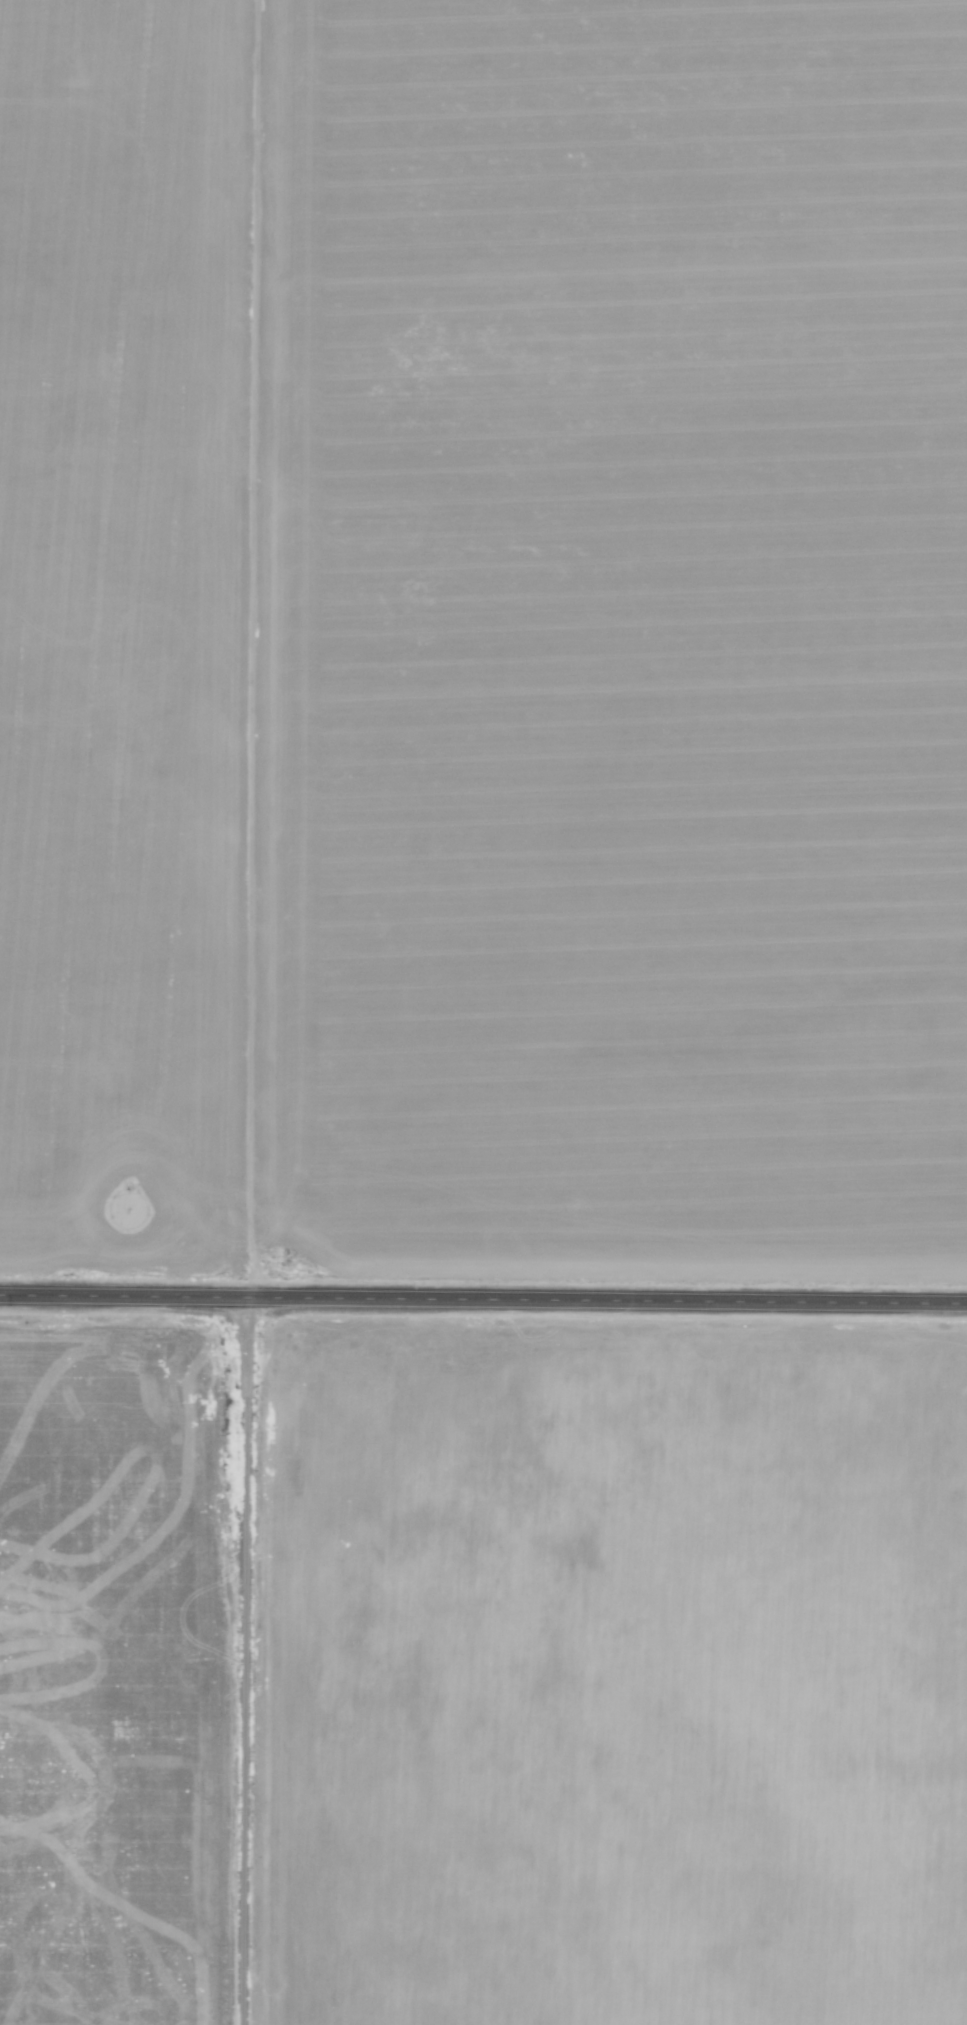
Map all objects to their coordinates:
road: (262, 650)
road: (483, 1301)
road: (236, 1663)

